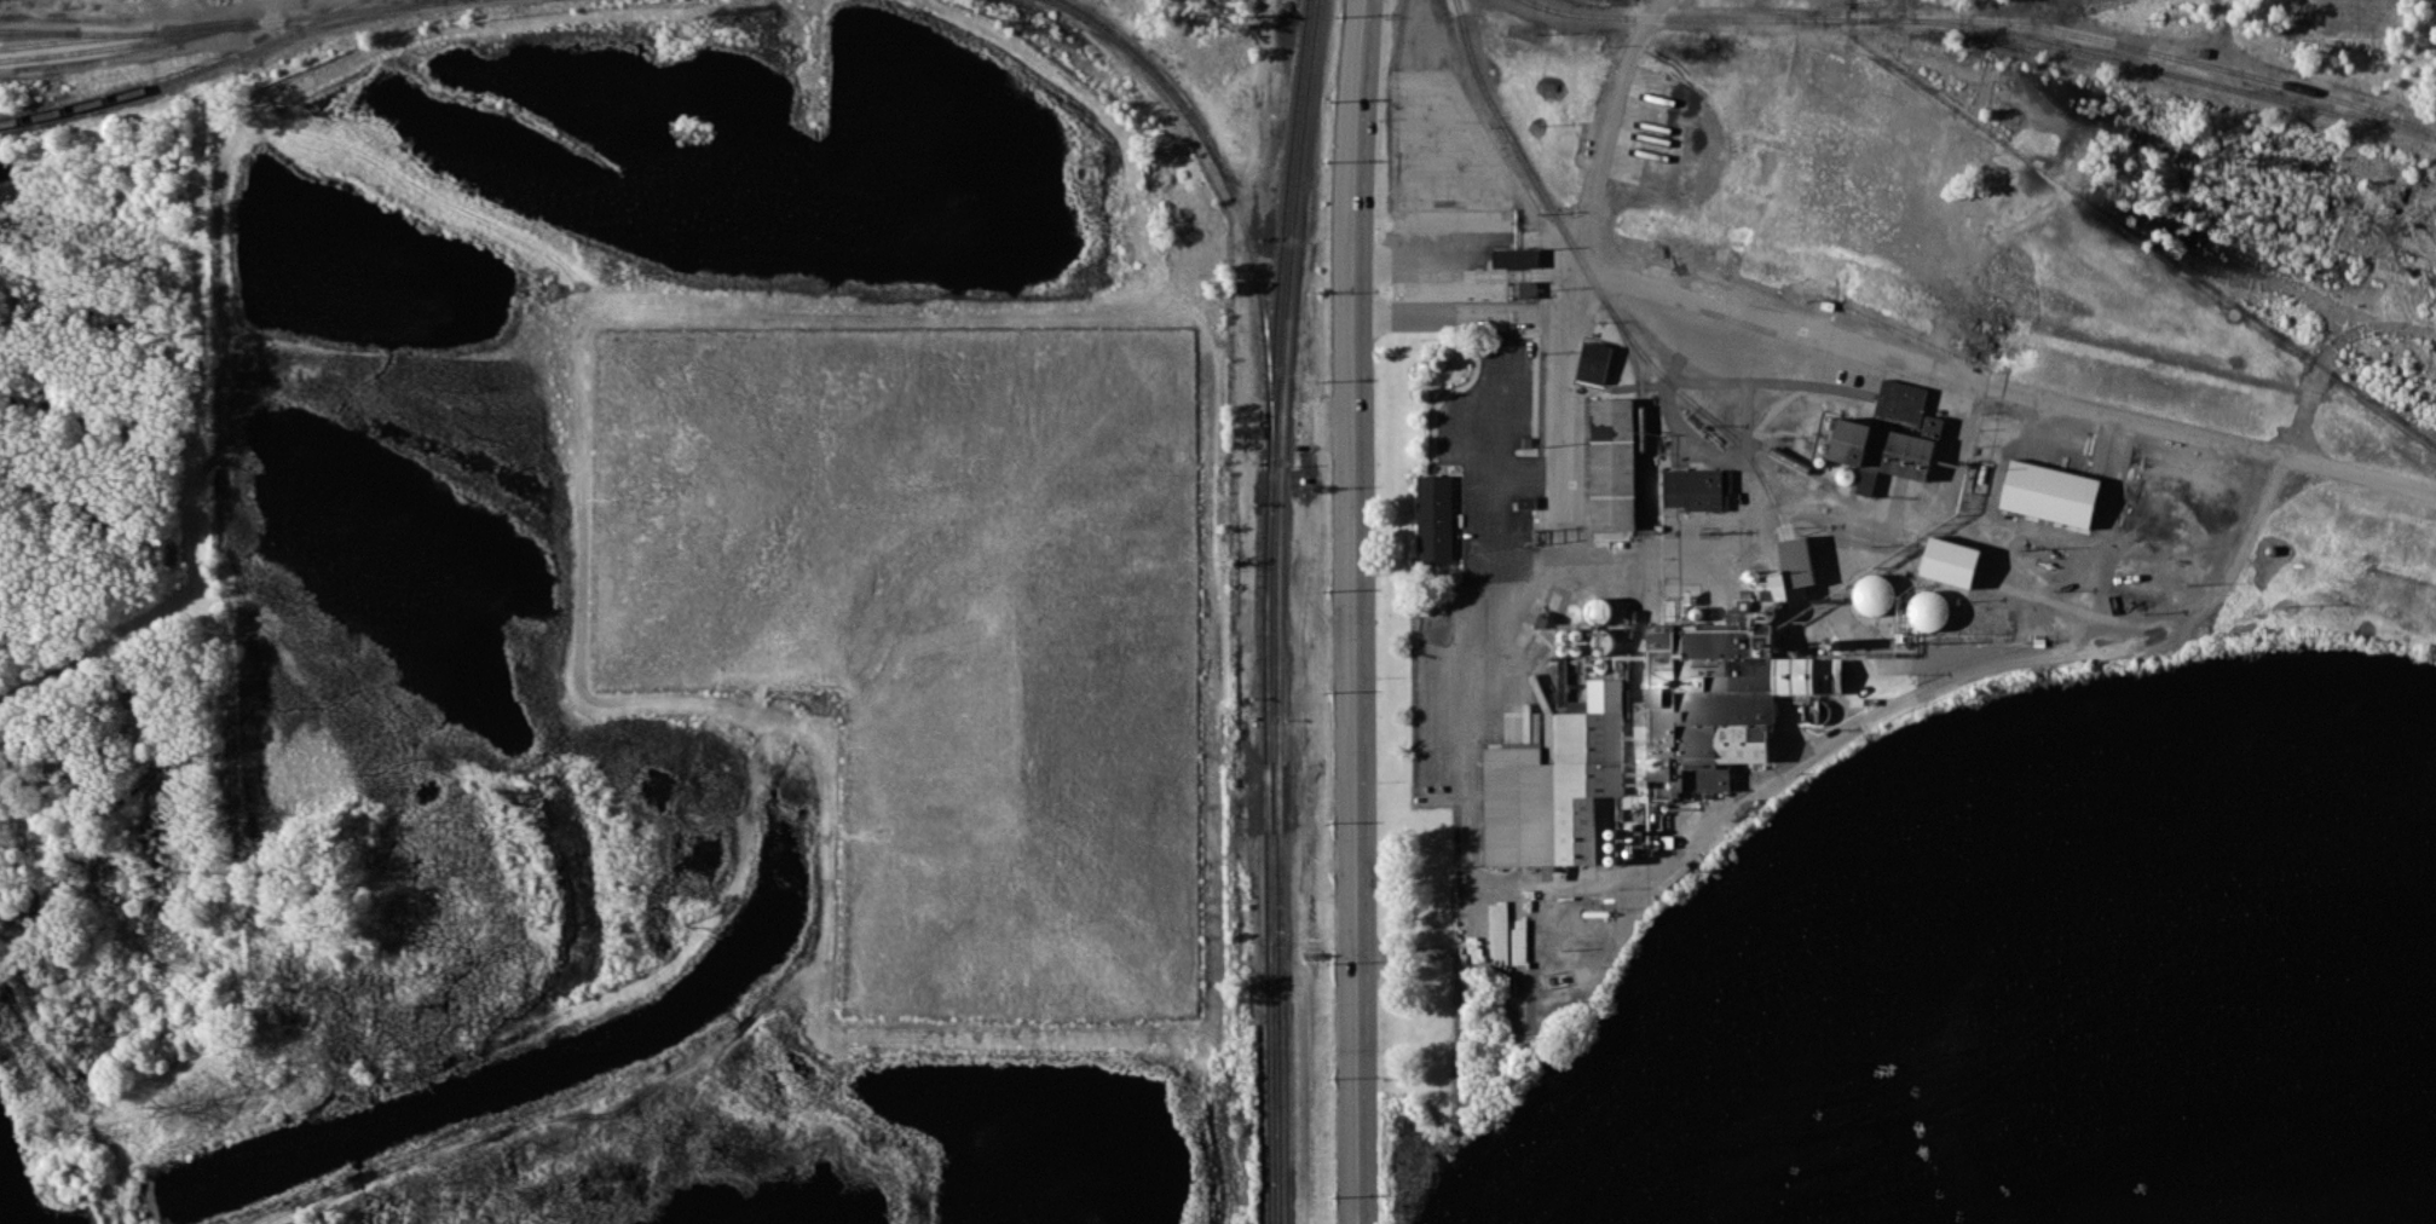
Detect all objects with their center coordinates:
railway: (339, 21)
railway: (227, 23)
railway: (1985, 28)
railway: (36, 30)
railway: (77, 31)
railway: (126, 41)
railway: (2177, 58)
railway: (183, 74)
railway: (1519, 156)
railway: (1229, 192)
building: (1516, 249)
road: (1455, 271)
building: (1529, 285)
road: (1454, 313)
road: (1858, 339)
building: (1592, 360)
railway: (1705, 411)
building: (1884, 429)
railway: (1754, 463)
building: (1846, 472)
building: (1614, 474)
building: (1698, 486)
building: (2050, 492)
building: (1435, 519)
road: (2246, 538)
railway: (1640, 543)
railway: (1789, 558)
building: (1797, 559)
building: (1952, 560)
road: (1532, 589)
building: (1874, 589)
building: (1928, 605)
building: (1598, 607)
railway: (1263, 611)
railway: (1278, 611)
road: (1341, 611)
building: (1599, 639)
building: (1724, 699)
building: (1818, 708)
river: (1889, 780)
building: (1555, 785)
road: (1747, 790)

